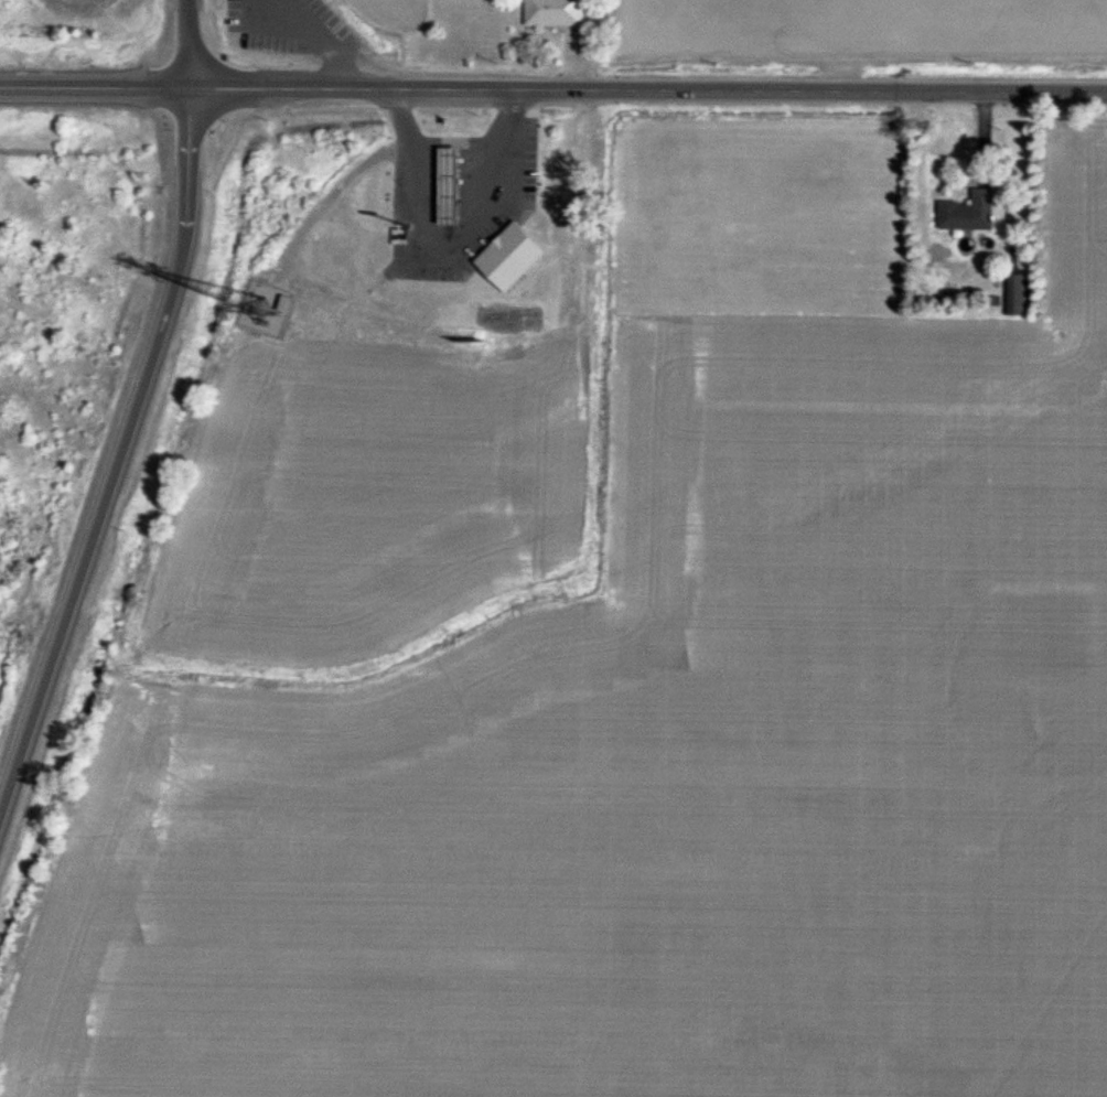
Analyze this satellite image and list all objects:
building: (550, 10)
parking lot: (288, 26)
road: (324, 36)
road: (184, 40)
road: (552, 83)
road: (449, 141)
road: (186, 153)
building: (445, 175)
gas station: (445, 175)
building: (504, 180)
building: (969, 214)
building: (508, 254)
building: (1017, 295)
road: (94, 514)

